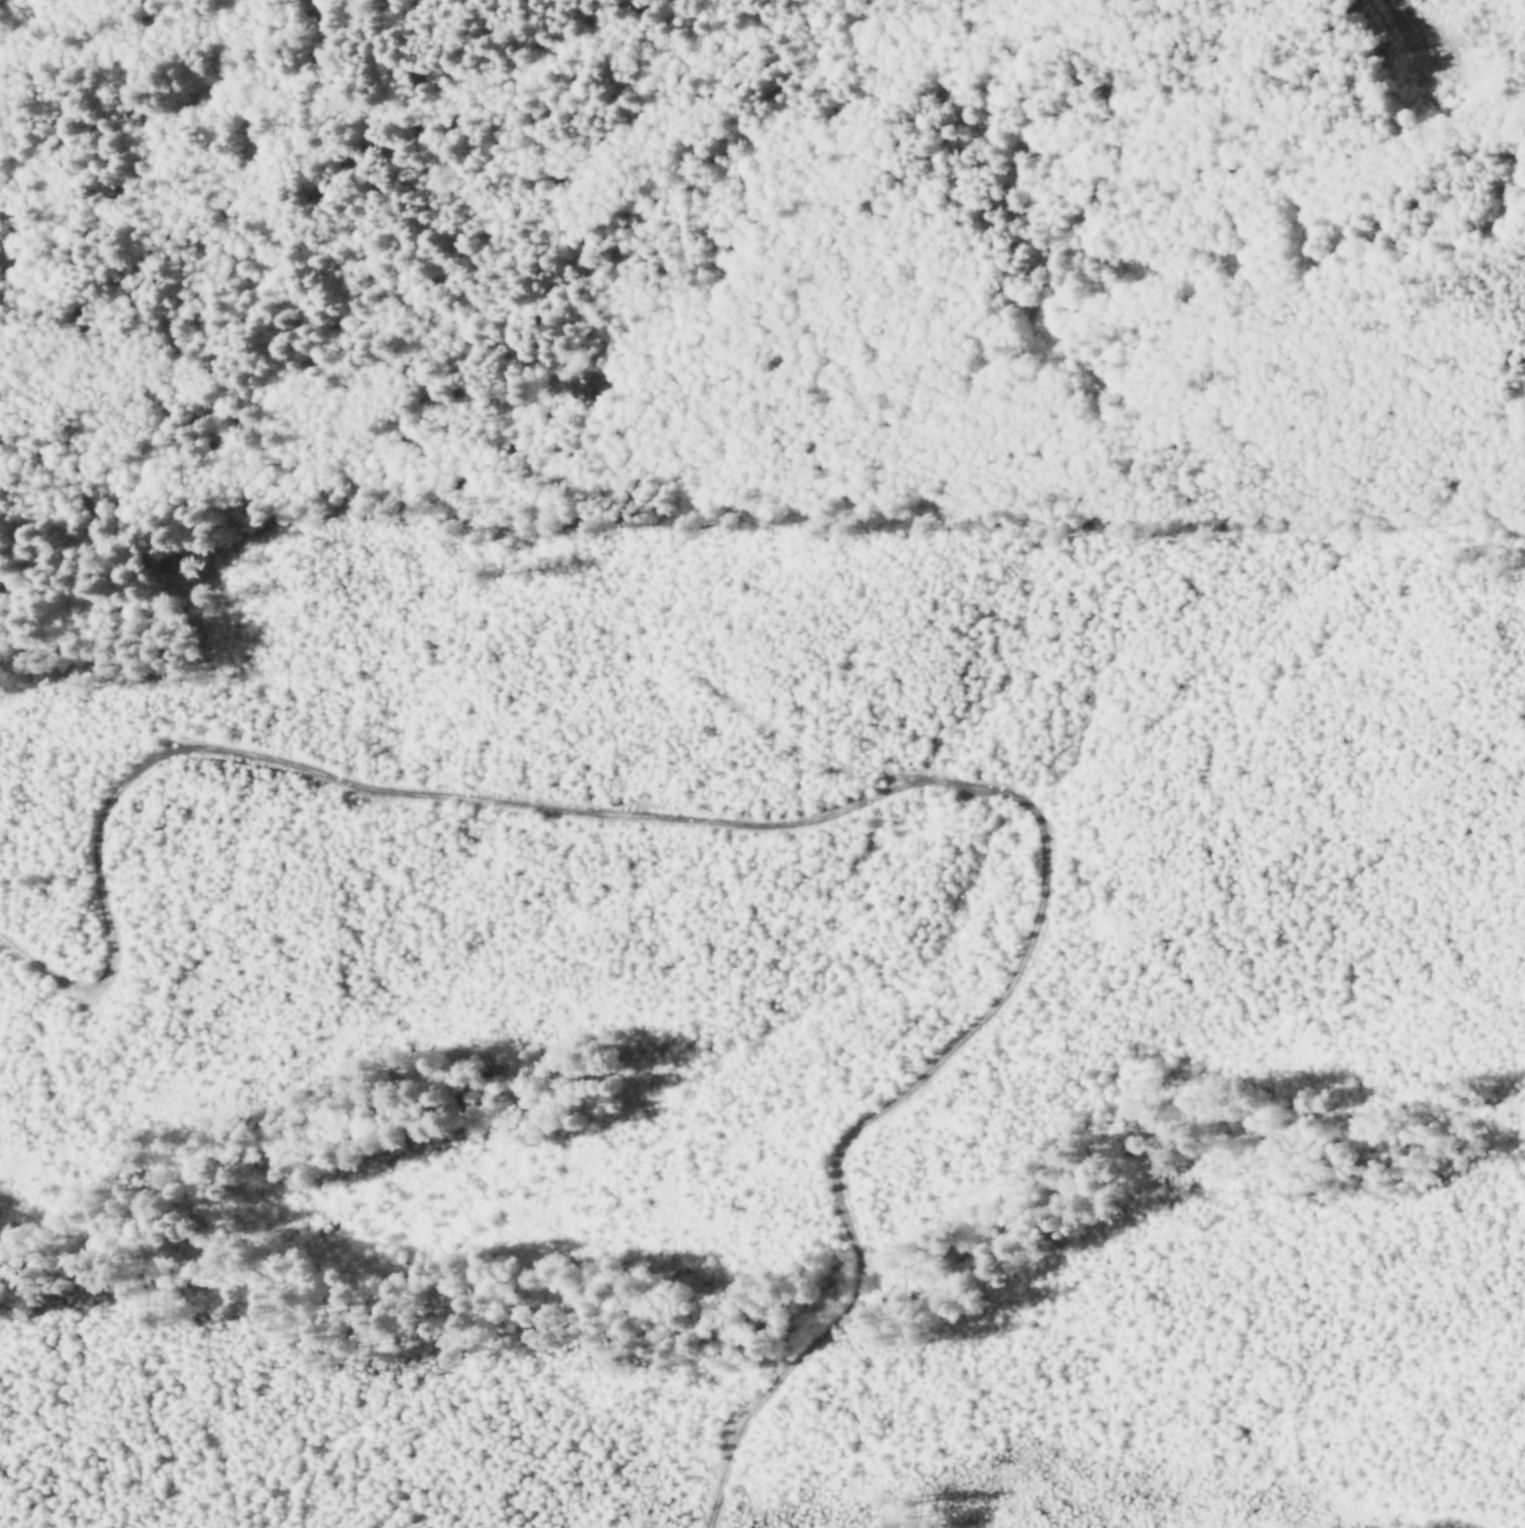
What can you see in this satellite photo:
road: (14, 37)

